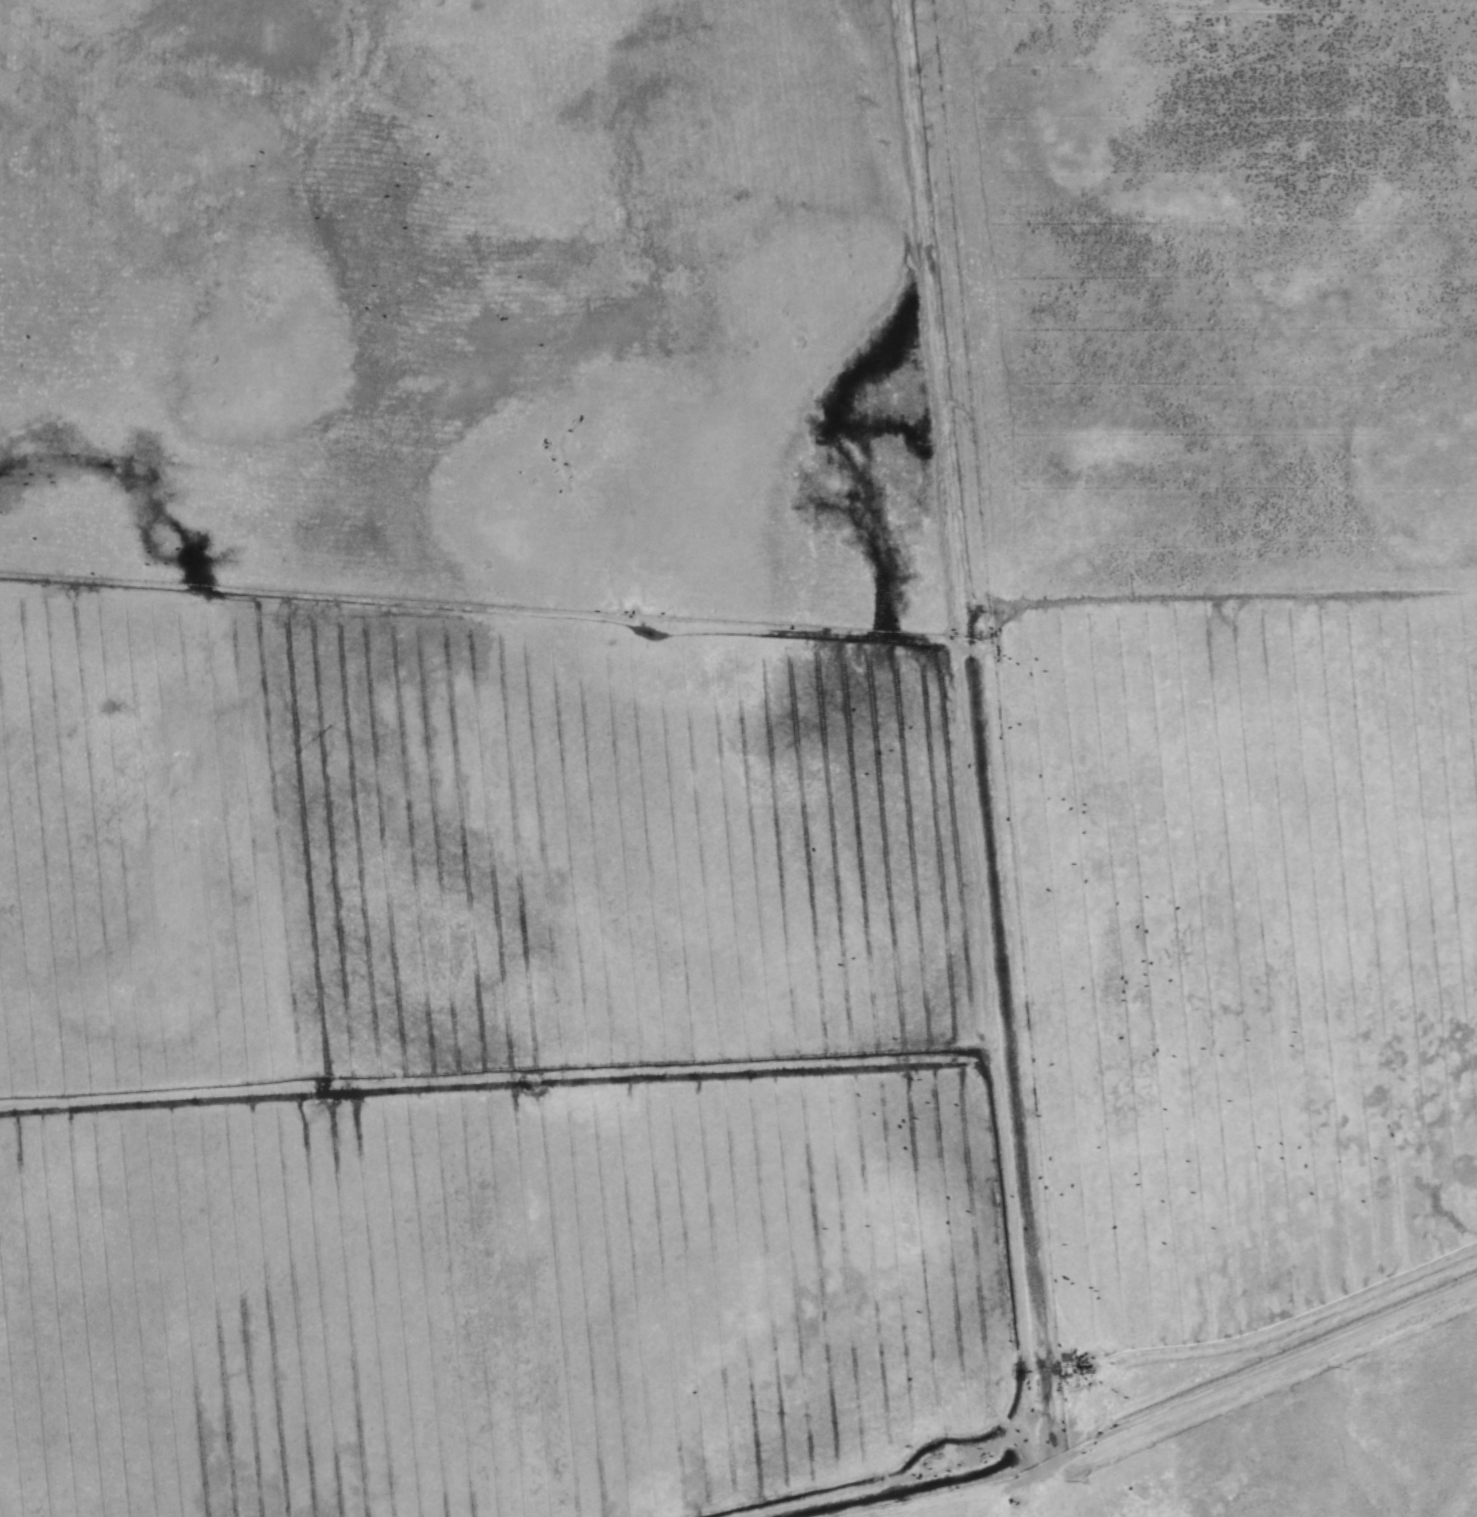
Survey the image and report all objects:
crop: (741, 306)
crop: (716, 1051)
road: (1268, 1372)
crop: (1314, 1455)

